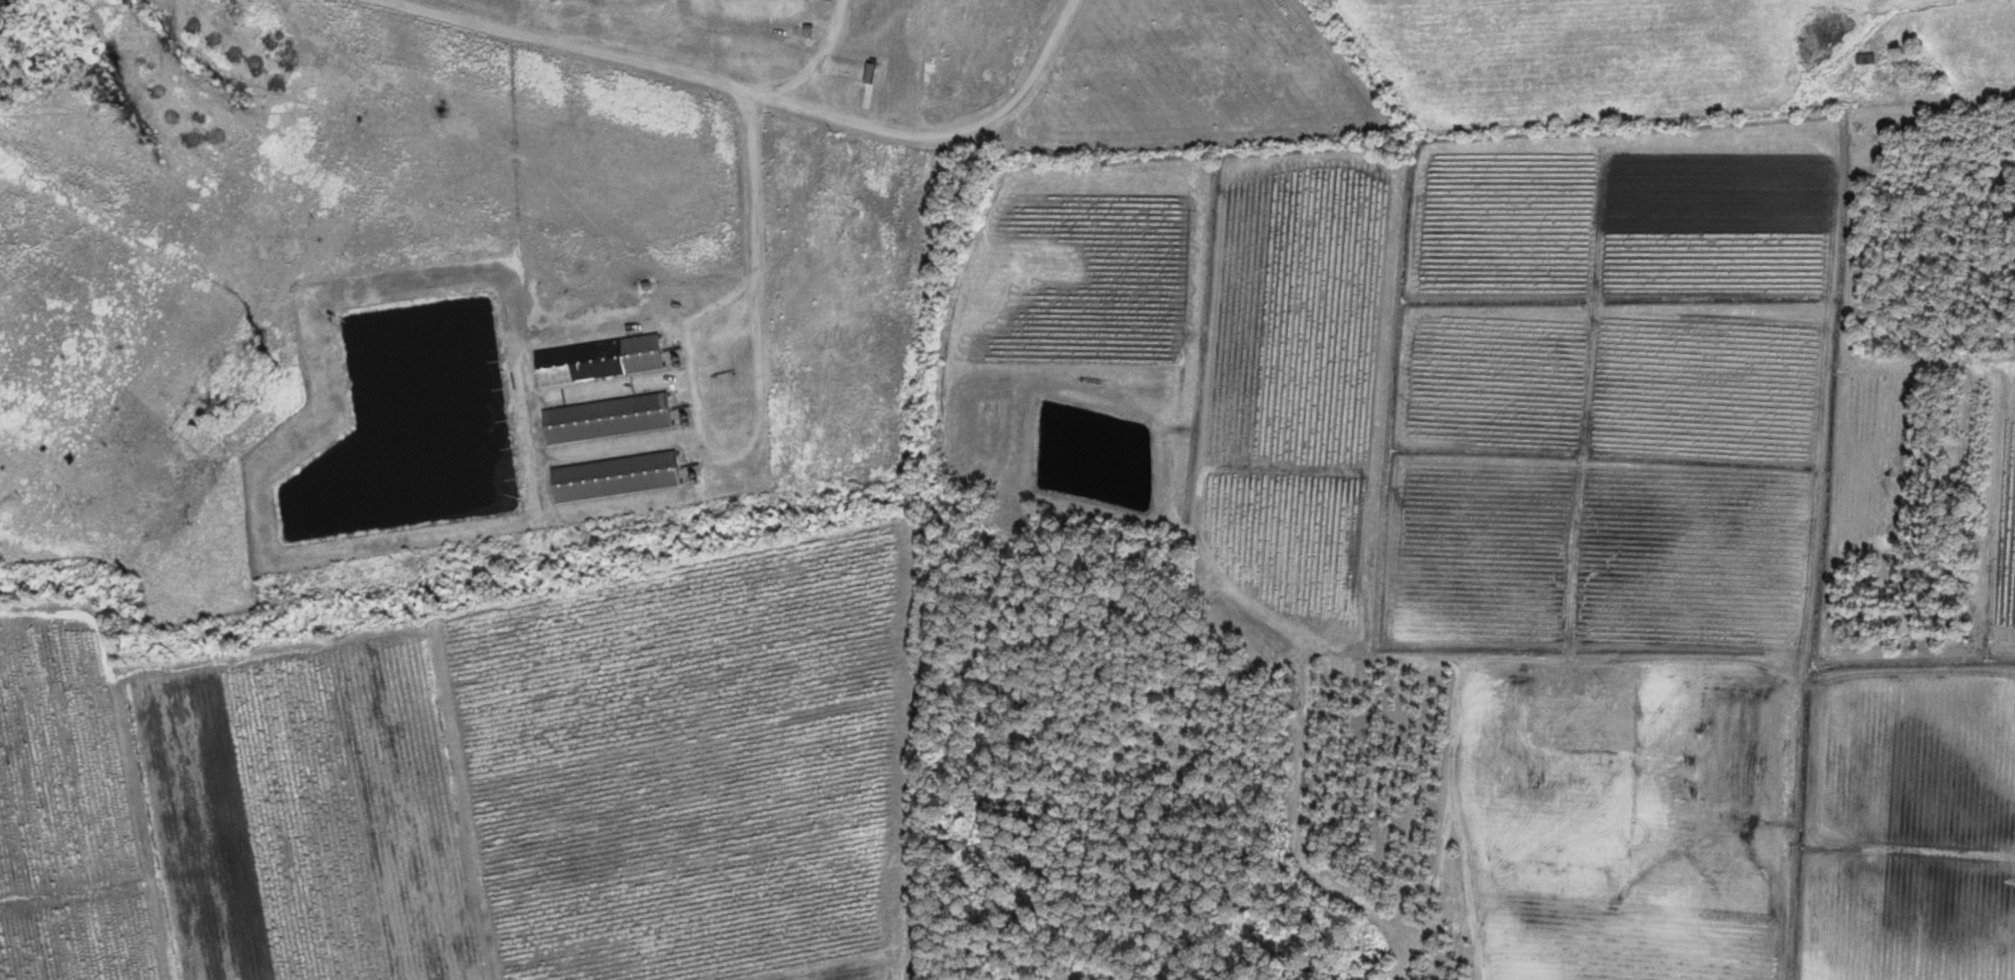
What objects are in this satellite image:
building: (1865, 57)
road: (760, 94)
road: (759, 271)
building: (595, 360)
building: (604, 418)
building: (612, 477)
road: (912, 556)

